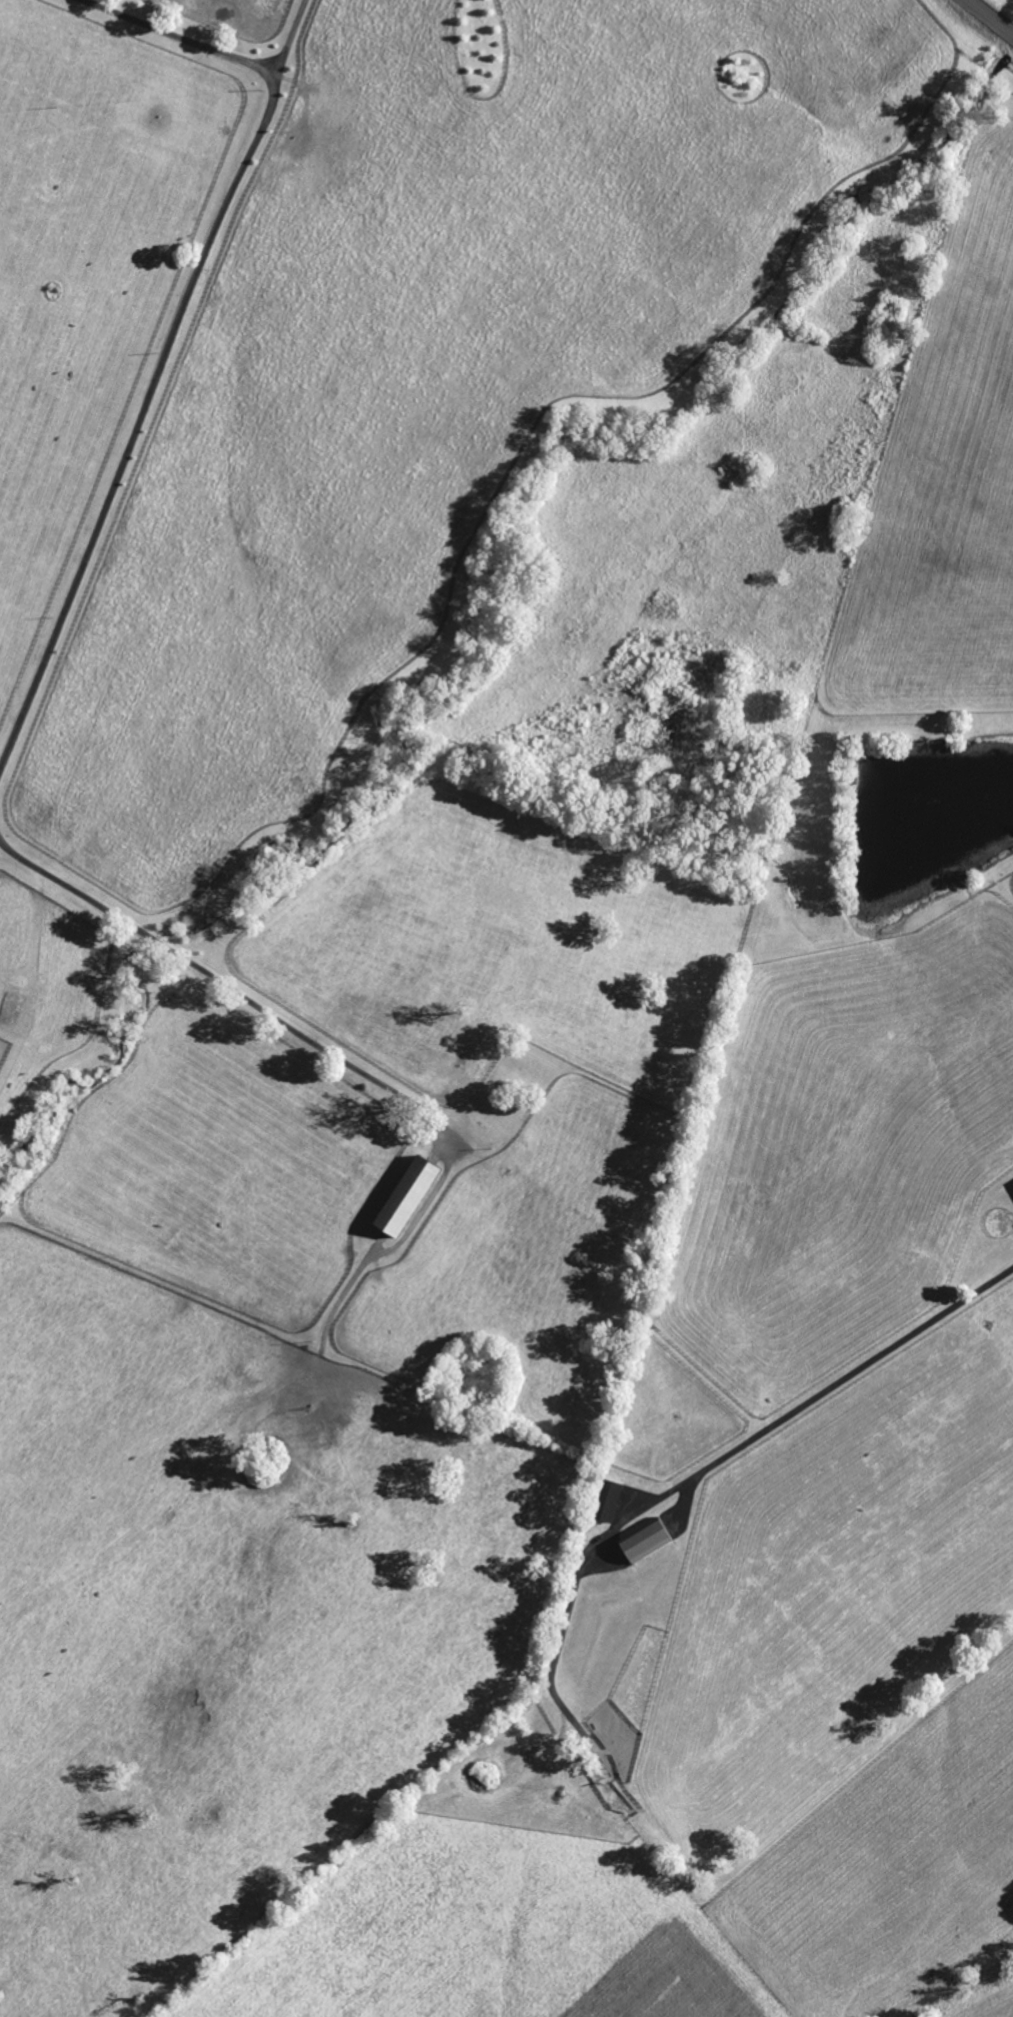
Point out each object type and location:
road: (990, 17)
road: (190, 35)
road: (233, 994)
building: (409, 1197)
road: (716, 1466)
building: (611, 1502)
building: (647, 1541)

